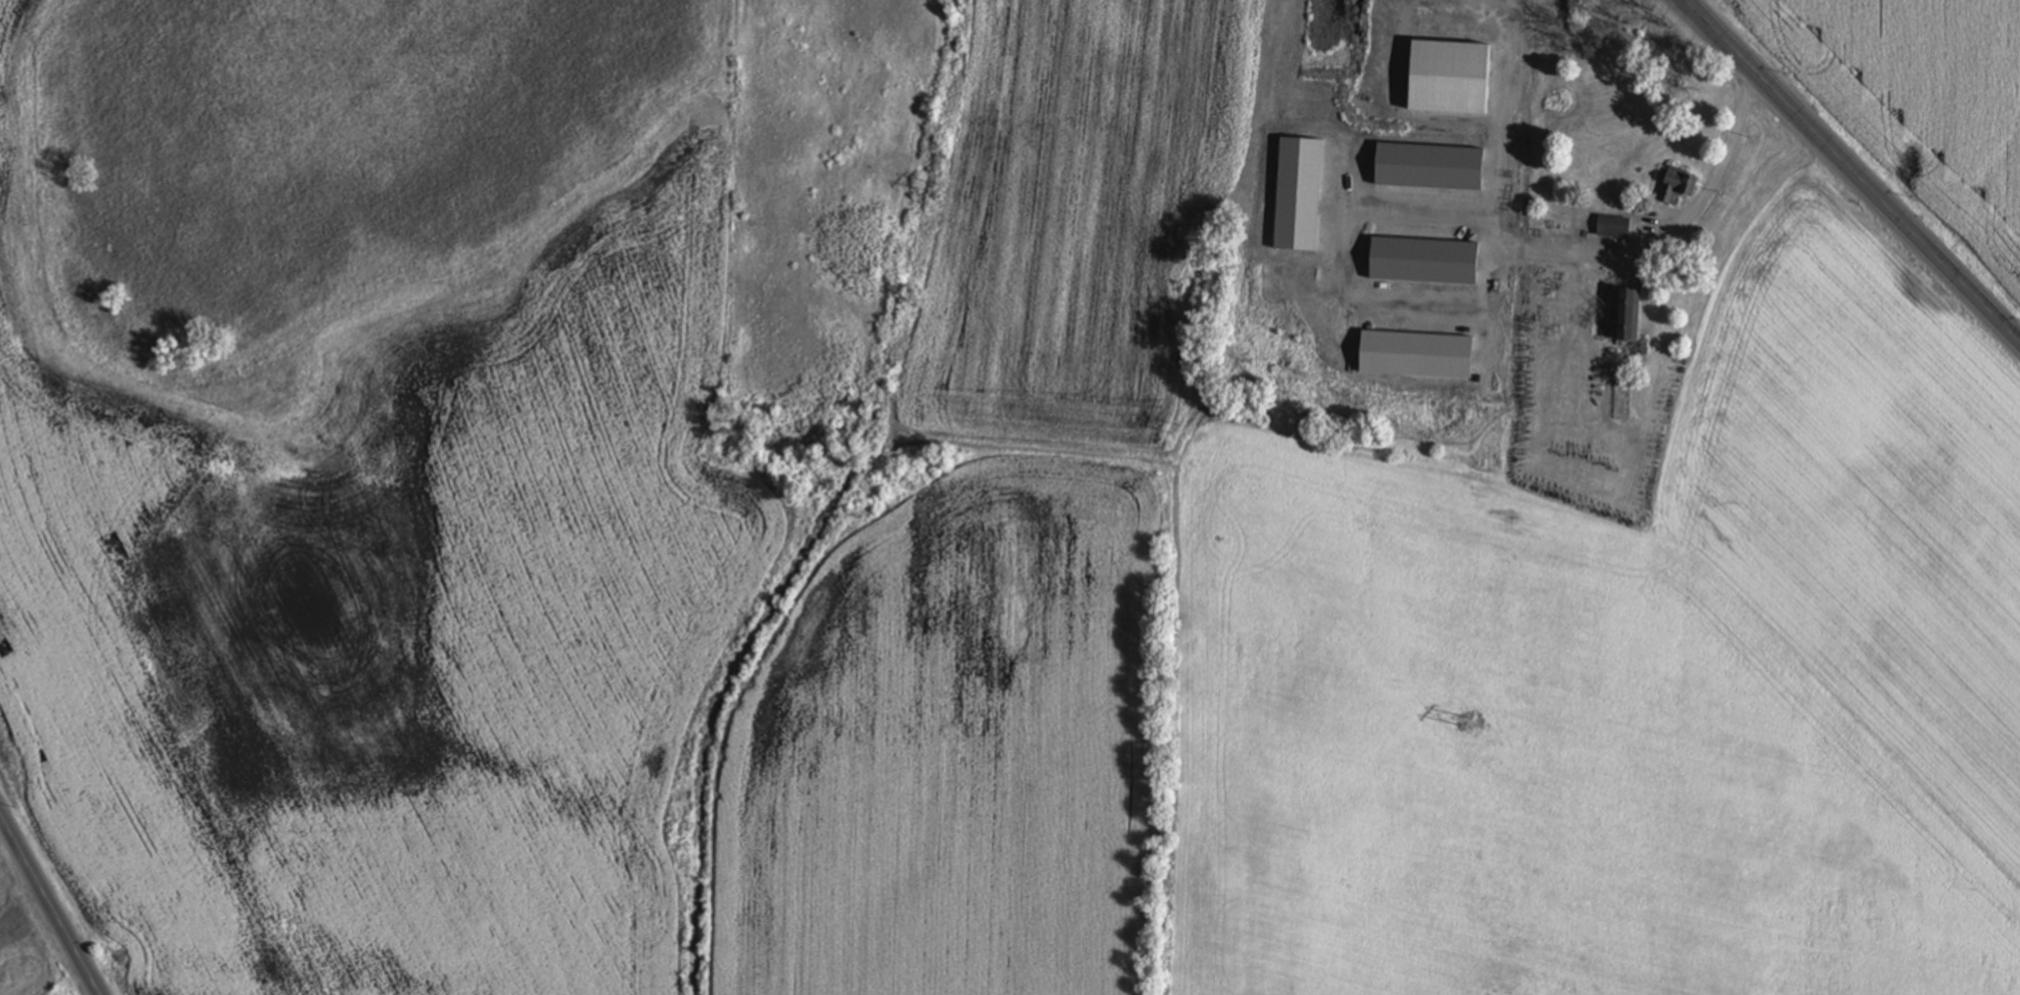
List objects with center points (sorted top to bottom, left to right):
road: (1855, 167)
building: (1680, 187)
building: (1615, 229)
road: (1566, 253)
road: (1338, 285)
building: (1631, 323)
road: (49, 904)

